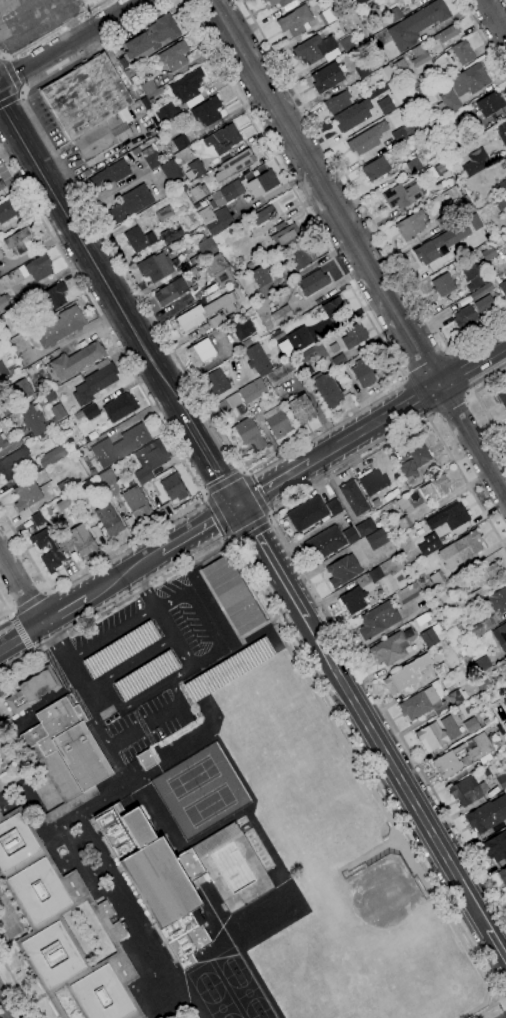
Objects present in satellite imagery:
road: (179, 0)
road: (180, 0)
building: (265, 0)
building: (410, 1)
building: (413, 1)
building: (281, 2)
building: (360, 2)
building: (394, 15)
building: (327, 16)
road: (495, 17)
building: (296, 21)
building: (418, 24)
road: (54, 31)
building: (448, 33)
building: (152, 37)
road: (483, 38)
road: (72, 43)
building: (347, 43)
building: (317, 49)
building: (463, 52)
building: (418, 55)
road: (2, 56)
building: (174, 56)
building: (401, 67)
building: (363, 70)
road: (12, 74)
building: (327, 77)
building: (187, 85)
building: (149, 86)
building: (463, 87)
road: (23, 93)
building: (86, 96)
building: (151, 98)
road: (9, 99)
building: (338, 102)
building: (490, 103)
building: (385, 105)
building: (420, 107)
building: (207, 111)
building: (167, 112)
building: (352, 115)
building: (476, 127)
building: (403, 132)
building: (501, 132)
building: (102, 137)
building: (223, 138)
building: (367, 139)
building: (180, 141)
building: (134, 152)
building: (151, 157)
building: (505, 157)
building: (505, 160)
building: (476, 162)
building: (235, 164)
building: (414, 165)
building: (440, 167)
building: (376, 168)
building: (195, 169)
building: (171, 171)
building: (111, 174)
building: (262, 183)
building: (501, 187)
building: (0, 188)
building: (228, 193)
building: (401, 195)
building: (505, 202)
building: (131, 203)
road: (362, 203)
building: (7, 211)
building: (164, 213)
building: (264, 215)
building: (215, 219)
building: (473, 221)
building: (443, 222)
building: (411, 226)
building: (172, 233)
building: (504, 233)
building: (286, 235)
building: (138, 239)
building: (19, 240)
building: (440, 243)
building: (207, 247)
road: (357, 248)
building: (488, 253)
building: (1, 254)
building: (301, 257)
road: (93, 261)
building: (156, 267)
building: (219, 269)
building: (32, 270)
building: (472, 273)
building: (260, 275)
building: (505, 276)
building: (313, 282)
building: (443, 284)
building: (503, 288)
building: (481, 291)
building: (170, 292)
building: (267, 292)
building: (54, 297)
building: (4, 302)
building: (484, 304)
building: (333, 307)
building: (204, 310)
building: (281, 315)
building: (464, 317)
road: (101, 319)
building: (220, 319)
building: (59, 327)
road: (93, 328)
building: (243, 329)
building: (354, 335)
building: (300, 339)
building: (334, 348)
road: (448, 351)
building: (201, 353)
building: (312, 354)
building: (257, 358)
building: (77, 360)
building: (338, 360)
road: (426, 365)
building: (3, 370)
building: (282, 373)
building: (362, 373)
road: (403, 377)
road: (400, 378)
building: (95, 382)
building: (216, 382)
building: (339, 383)
building: (22, 389)
building: (252, 391)
building: (279, 391)
building: (326, 391)
road: (469, 392)
building: (502, 394)
building: (50, 396)
building: (234, 400)
road: (407, 402)
road: (449, 402)
road: (479, 402)
building: (120, 407)
building: (5, 409)
building: (302, 409)
building: (90, 412)
road: (430, 415)
building: (40, 417)
building: (278, 422)
building: (250, 434)
building: (2, 441)
building: (120, 445)
building: (419, 452)
building: (54, 456)
building: (150, 460)
road: (210, 461)
building: (13, 463)
building: (409, 471)
building: (109, 482)
road: (223, 482)
road: (273, 482)
building: (372, 482)
building: (64, 486)
building: (173, 487)
building: (436, 488)
building: (80, 493)
road: (254, 493)
building: (27, 495)
building: (354, 497)
building: (136, 503)
building: (403, 503)
traffic signals: (237, 504)
building: (334, 507)
building: (308, 513)
road: (217, 515)
road: (269, 515)
building: (450, 517)
building: (39, 518)
building: (109, 520)
building: (404, 523)
road: (198, 526)
road: (249, 526)
building: (366, 527)
road: (255, 535)
building: (350, 535)
road: (229, 539)
building: (377, 539)
building: (325, 542)
building: (79, 543)
building: (429, 544)
building: (461, 549)
building: (53, 554)
road: (87, 565)
road: (300, 568)
building: (343, 570)
road: (123, 574)
building: (375, 574)
building: (437, 578)
building: (479, 583)
road: (20, 588)
road: (144, 588)
road: (46, 591)
building: (409, 593)
building: (234, 595)
building: (353, 600)
building: (495, 601)
road: (27, 603)
road: (7, 609)
road: (64, 610)
road: (10, 613)
road: (203, 619)
building: (378, 620)
building: (483, 626)
road: (21, 632)
road: (112, 634)
road: (21, 635)
building: (500, 636)
road: (174, 637)
building: (429, 637)
building: (390, 649)
building: (122, 650)
road: (32, 652)
building: (505, 657)
road: (130, 663)
road: (70, 664)
building: (482, 664)
building: (229, 669)
road: (308, 669)
building: (441, 669)
building: (147, 676)
building: (401, 680)
building: (483, 682)
building: (502, 686)
building: (30, 688)
road: (145, 697)
building: (457, 697)
road: (45, 700)
building: (505, 700)
building: (419, 703)
building: (472, 725)
building: (450, 727)
road: (138, 728)
building: (431, 736)
building: (67, 755)
building: (480, 757)
road: (390, 758)
building: (146, 760)
building: (465, 760)
building: (501, 781)
park: (201, 791)
building: (465, 791)
building: (487, 815)
building: (496, 846)
building: (162, 876)
building: (502, 876)
park: (384, 917)
building: (62, 927)
park: (231, 962)
flagpole: (23, 968)
park: (390, 977)
park: (204, 978)
road: (16, 989)
park: (249, 993)
park: (220, 1002)
road: (505, 1002)
road: (505, 1003)
road: (5, 1009)
park: (267, 1015)
building: (194, 1017)

